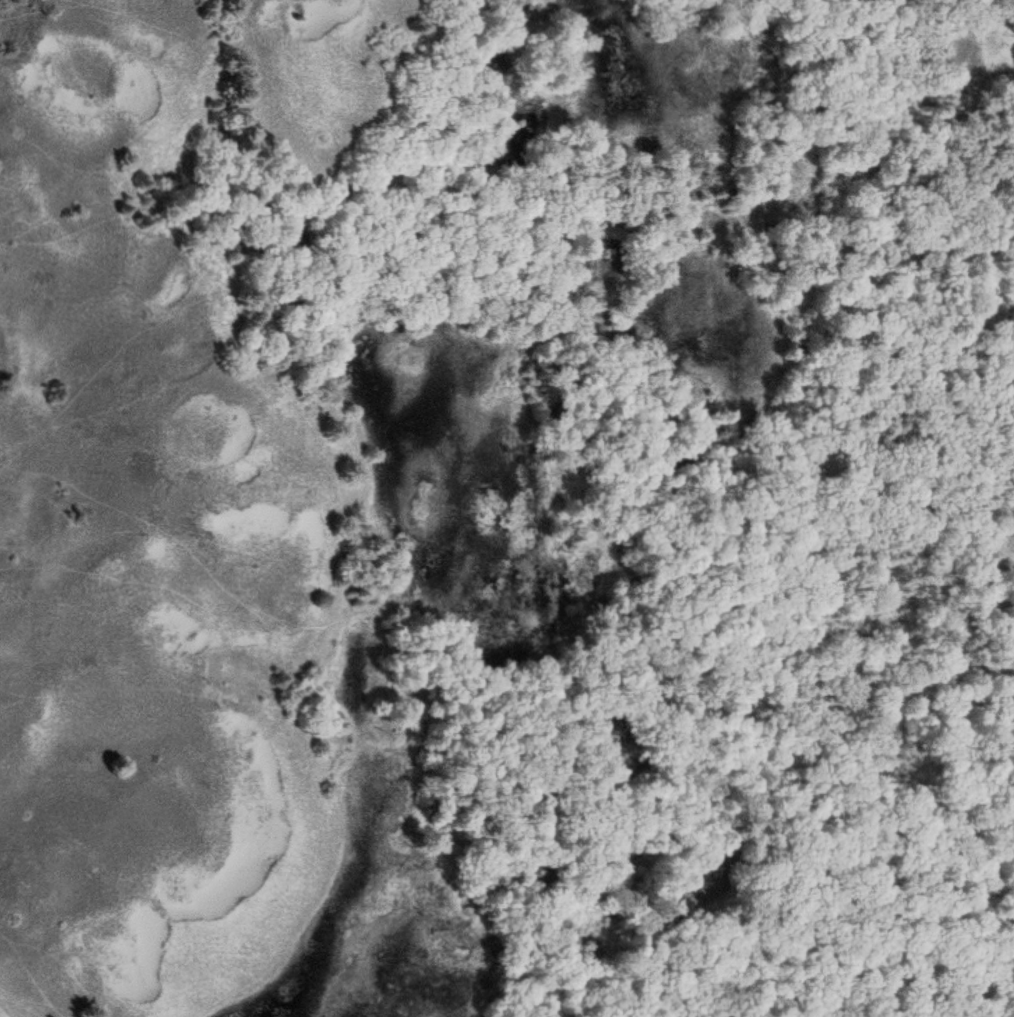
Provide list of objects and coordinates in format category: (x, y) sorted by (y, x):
park: (507, 508)
road: (825, 630)

